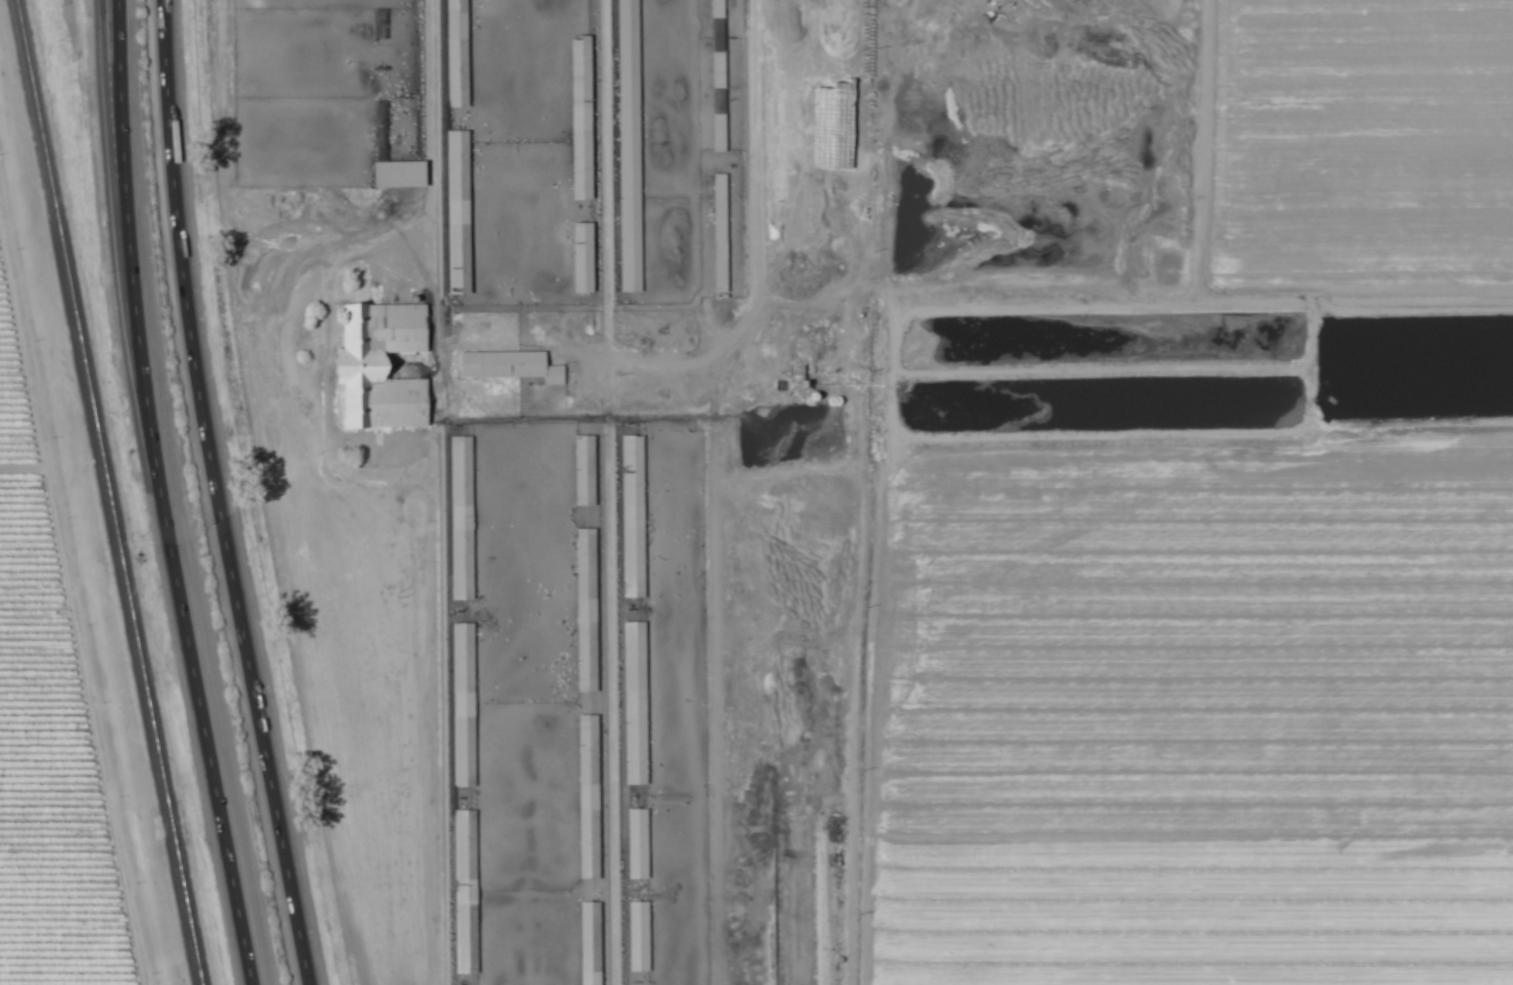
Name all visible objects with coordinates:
building: (716, 9)
building: (455, 54)
building: (627, 65)
building: (718, 71)
building: (581, 118)
road: (431, 126)
road: (112, 131)
building: (718, 133)
crop: (1351, 147)
building: (398, 175)
building: (458, 213)
building: (629, 218)
building: (719, 236)
building: (582, 259)
building: (381, 366)
building: (508, 366)
building: (584, 470)
railway: (105, 492)
road: (156, 495)
road: (214, 495)
building: (632, 517)
building: (461, 518)
wastewater plant: (799, 570)
building: (586, 610)
crop: (132, 675)
building: (634, 703)
building: (463, 705)
crop: (1212, 715)
building: (588, 797)
building: (637, 843)
building: (465, 892)
building: (638, 936)
building: (590, 943)

